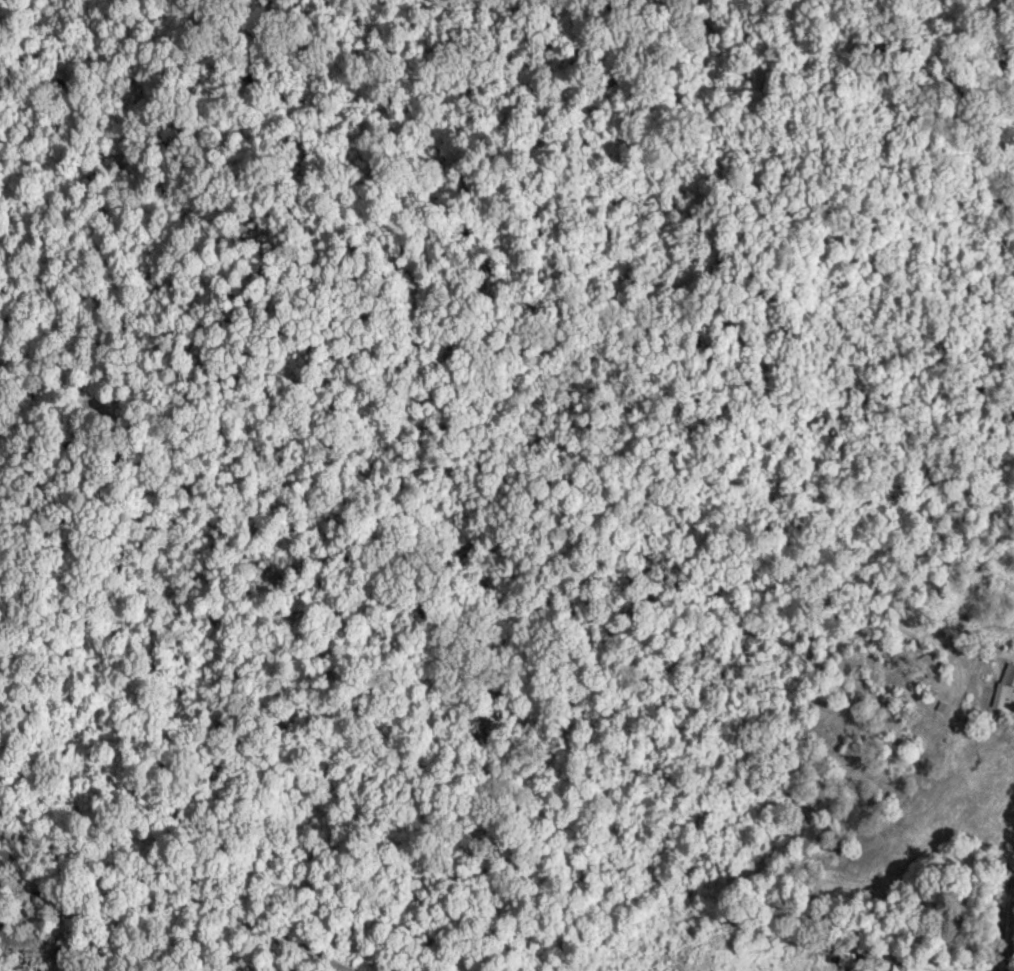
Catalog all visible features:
building: (1006, 683)
road: (1011, 872)
building: (852, 956)
building: (913, 966)

